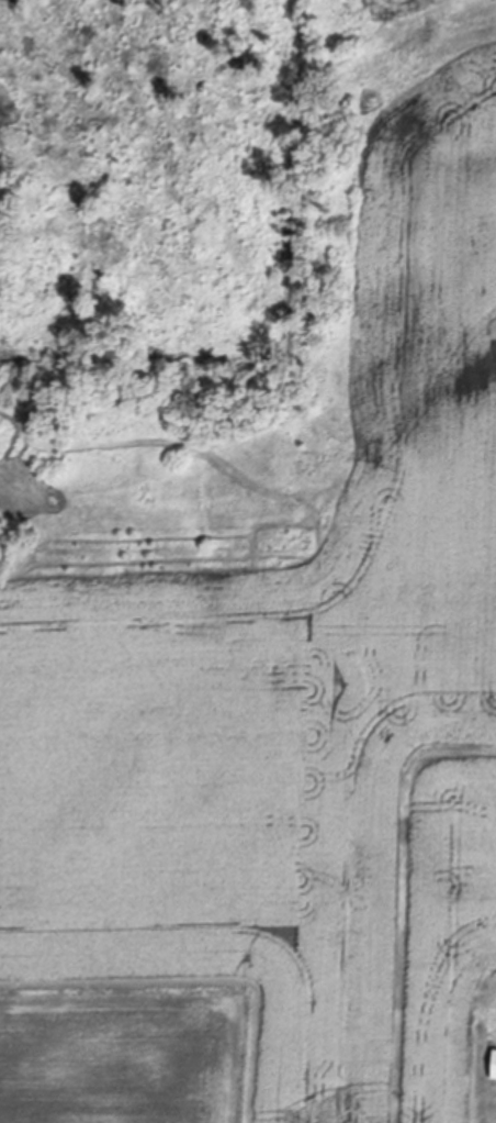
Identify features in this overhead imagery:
building: (494, 1060)

